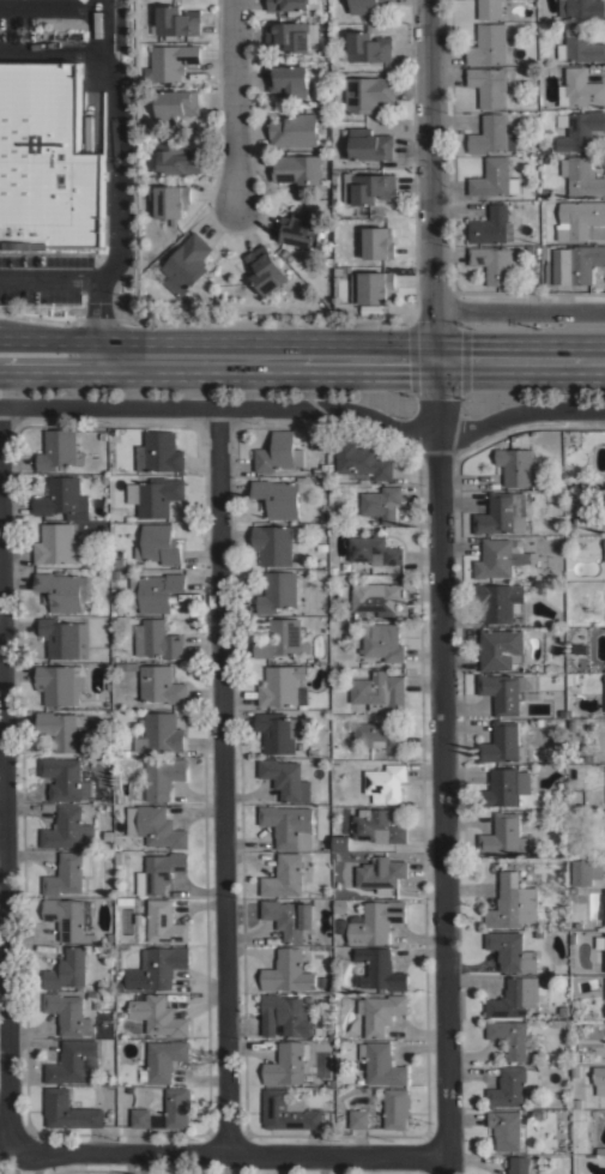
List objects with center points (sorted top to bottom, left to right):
building: (290, 4)
building: (367, 5)
building: (582, 7)
building: (489, 8)
building: (177, 20)
building: (288, 35)
building: (580, 43)
building: (490, 44)
building: (367, 46)
road: (49, 50)
building: (171, 60)
building: (289, 79)
building: (488, 84)
building: (580, 88)
building: (369, 92)
building: (175, 103)
road: (232, 104)
road: (117, 125)
building: (579, 128)
building: (294, 130)
building: (492, 134)
building: (370, 144)
building: (176, 158)
building: (47, 159)
building: (297, 169)
building: (581, 175)
building: (494, 177)
building: (368, 187)
building: (169, 200)
building: (577, 218)
building: (492, 224)
building: (296, 229)
building: (379, 241)
building: (495, 261)
building: (186, 264)
building: (570, 264)
building: (265, 269)
road: (49, 278)
building: (371, 289)
road: (521, 309)
road: (67, 342)
road: (368, 361)
traffic signals: (436, 362)
road: (67, 375)
road: (219, 407)
road: (521, 416)
building: (59, 450)
building: (158, 452)
building: (278, 452)
building: (362, 460)
building: (519, 465)
building: (323, 466)
building: (315, 469)
building: (102, 477)
building: (155, 495)
building: (280, 495)
building: (62, 498)
building: (381, 504)
building: (502, 513)
building: (56, 543)
building: (274, 543)
building: (158, 544)
building: (320, 547)
building: (373, 549)
building: (604, 549)
building: (497, 558)
building: (119, 561)
building: (114, 574)
road: (442, 586)
building: (60, 590)
building: (156, 591)
building: (278, 591)
building: (377, 597)
building: (500, 601)
building: (334, 614)
building: (65, 637)
building: (282, 638)
building: (156, 639)
building: (382, 642)
building: (500, 648)
building: (126, 666)
building: (60, 684)
building: (161, 685)
building: (283, 686)
building: (604, 690)
building: (380, 691)
building: (502, 692)
building: (537, 722)
building: (60, 728)
building: (279, 730)
building: (159, 733)
building: (379, 735)
building: (502, 743)
building: (125, 752)
building: (311, 752)
building: (163, 777)
road: (8, 778)
building: (65, 779)
building: (286, 779)
road: (229, 781)
building: (386, 782)
building: (506, 785)
building: (289, 825)
building: (377, 825)
building: (155, 826)
building: (63, 827)
building: (87, 833)
building: (503, 836)
building: (340, 842)
building: (117, 856)
building: (585, 871)
building: (159, 872)
building: (380, 872)
building: (67, 873)
building: (284, 877)
building: (125, 899)
building: (512, 902)
building: (339, 904)
building: (604, 907)
building: (67, 917)
building: (289, 917)
building: (137, 919)
building: (375, 921)
building: (164, 922)
building: (577, 925)
building: (538, 932)
building: (571, 937)
building: (600, 941)
building: (510, 951)
building: (604, 953)
building: (157, 968)
building: (379, 968)
building: (67, 969)
building: (288, 971)
building: (320, 980)
building: (604, 982)
building: (91, 993)
building: (107, 997)
building: (516, 997)
building: (95, 1004)
building: (604, 1004)
building: (562, 1010)
building: (68, 1012)
building: (381, 1012)
building: (157, 1013)
building: (284, 1015)
building: (319, 1029)
building: (331, 1035)
building: (510, 1036)
building: (164, 1058)
building: (71, 1061)
building: (288, 1062)
building: (381, 1064)
building: (574, 1068)
building: (599, 1079)
building: (513, 1085)
building: (575, 1102)
building: (177, 1107)
building: (395, 1108)
building: (68, 1109)
building: (286, 1110)
building: (594, 1112)
building: (537, 1113)
building: (141, 1118)
building: (358, 1118)
building: (506, 1128)
road: (229, 1152)
building: (519, 1164)

